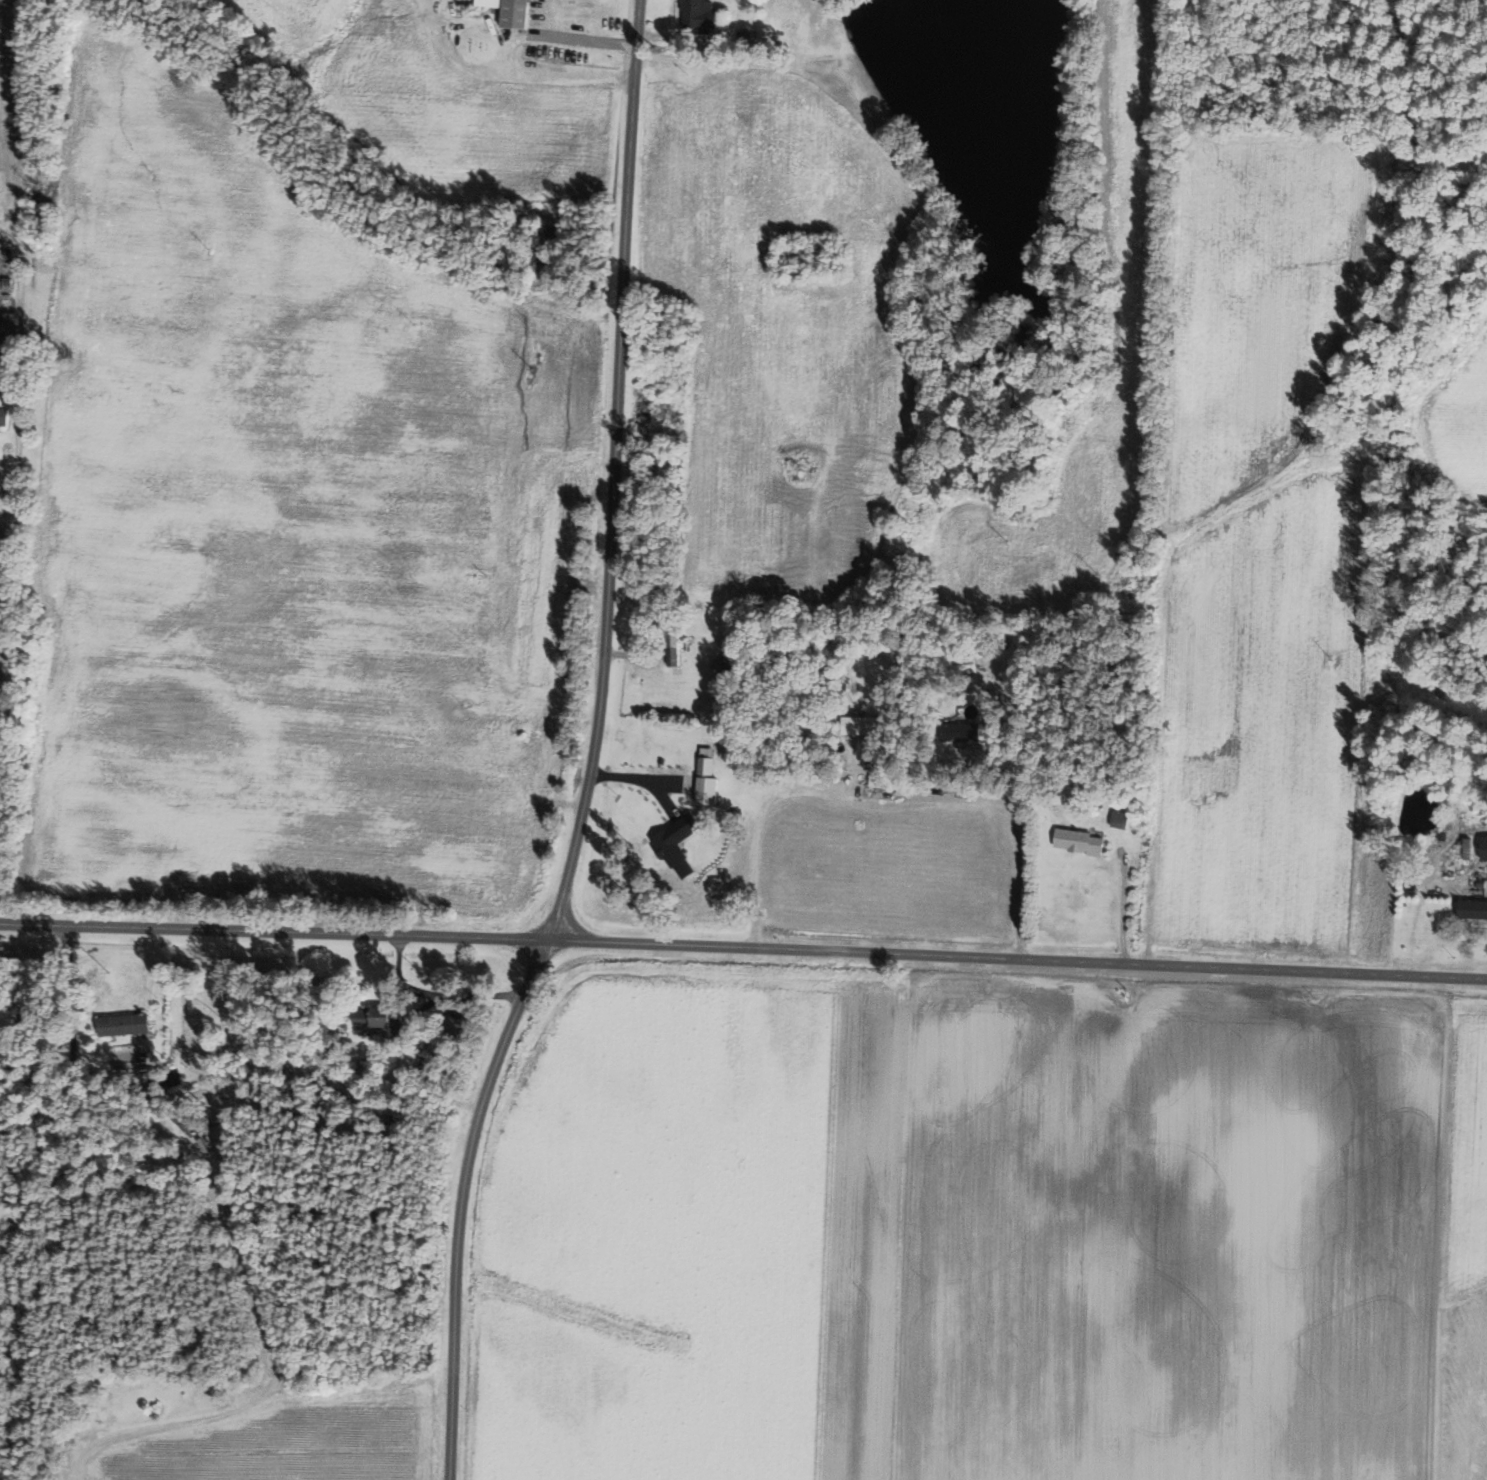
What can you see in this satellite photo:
building: (513, 12)
building: (701, 16)
road: (508, 53)
road: (20, 290)
building: (5, 410)
road: (16, 436)
road: (5, 518)
road: (5, 635)
building: (728, 665)
building: (862, 727)
building: (967, 733)
road: (591, 749)
building: (709, 783)
road: (756, 819)
building: (1082, 841)
road: (1021, 844)
building: (1484, 848)
building: (1473, 908)
road: (743, 948)
building: (386, 1022)
building: (126, 1025)
crop: (974, 1231)

